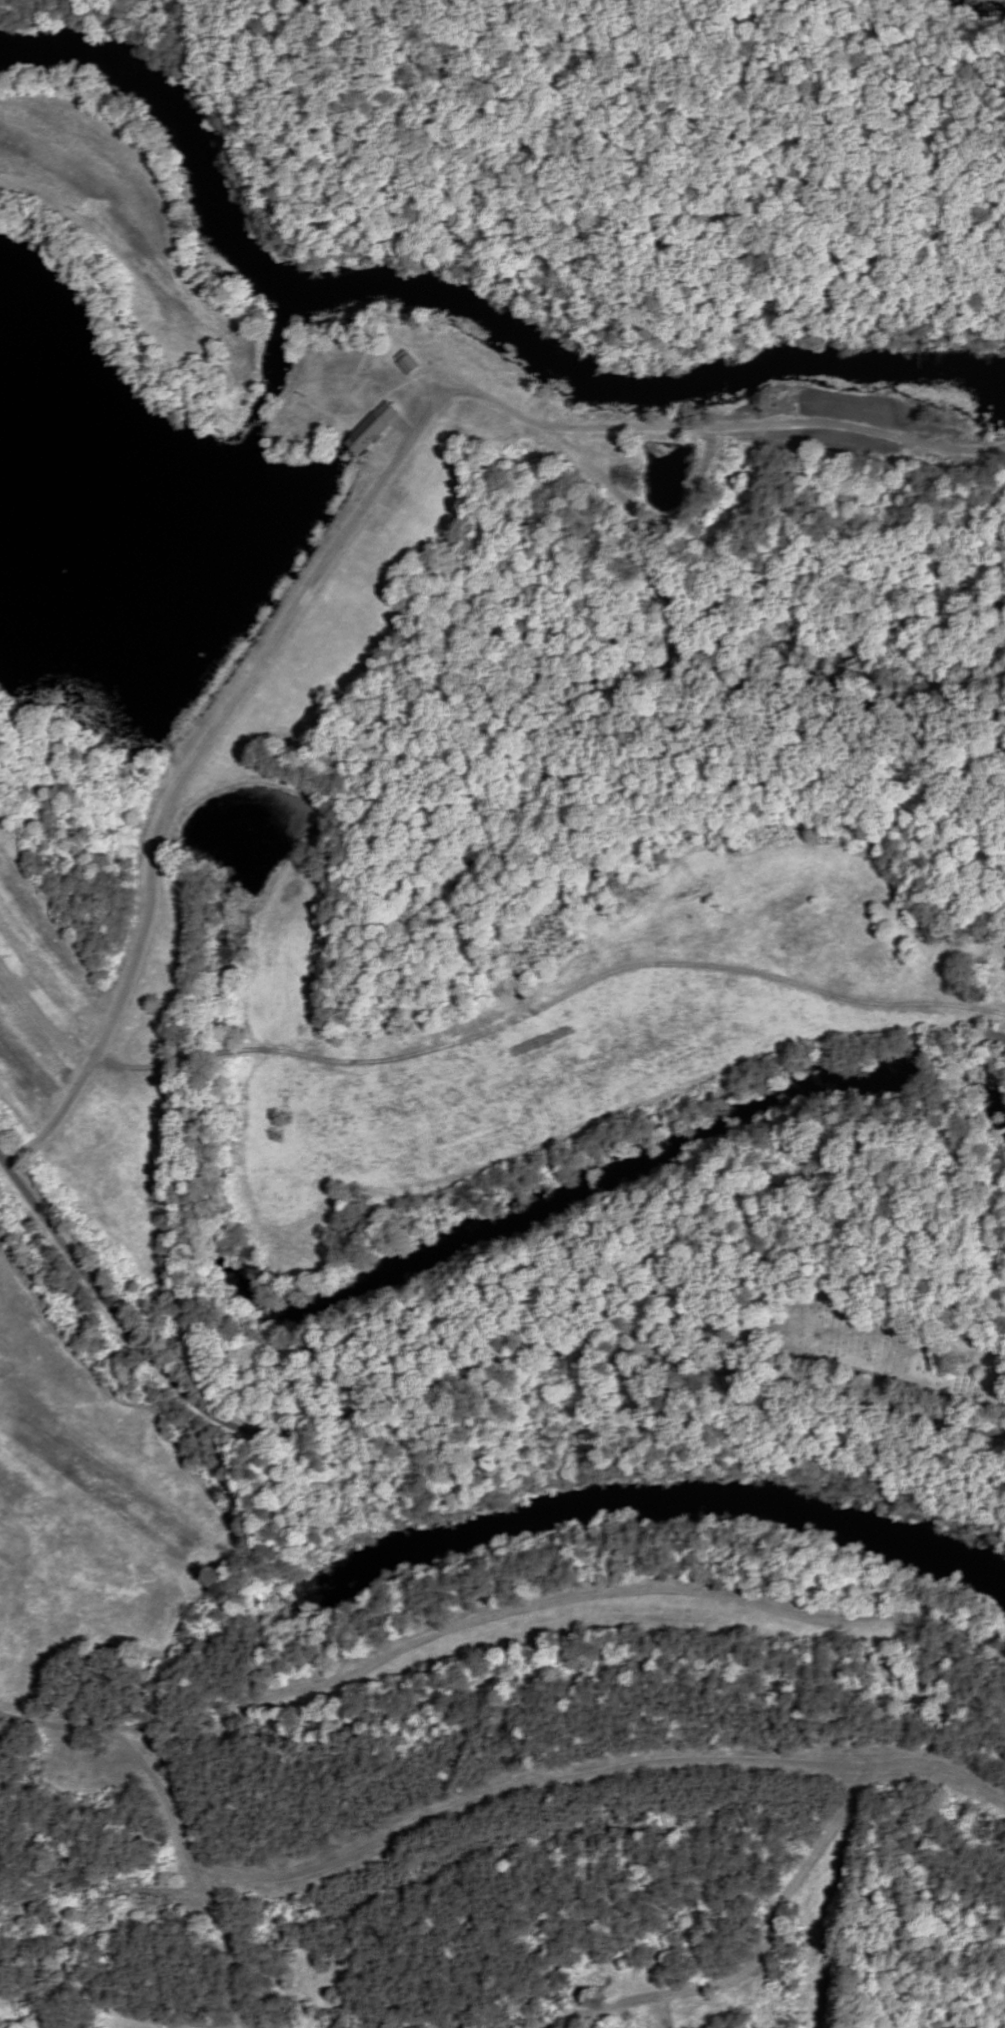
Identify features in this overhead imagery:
road: (700, 431)
road: (180, 788)
park: (877, 1339)
road: (442, 1385)
road: (463, 1810)
road: (232, 1942)
road: (755, 1961)

